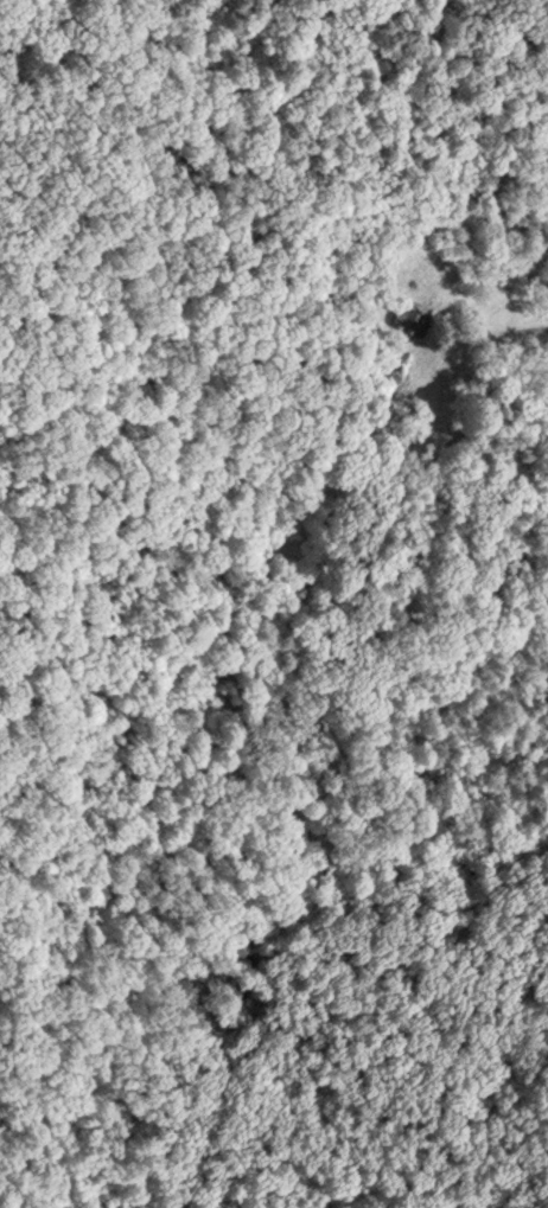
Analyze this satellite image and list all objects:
building: (403, 319)

